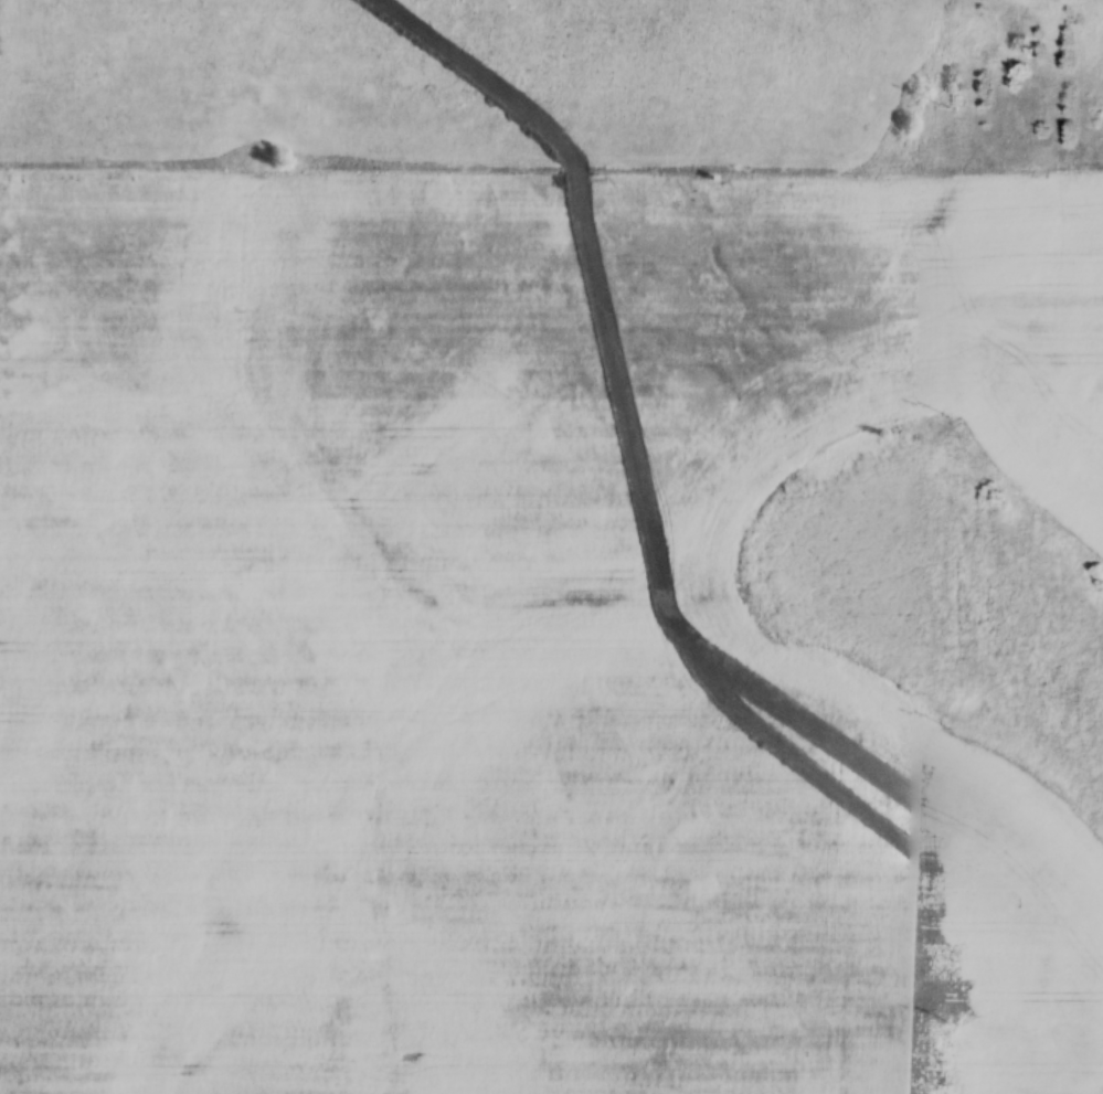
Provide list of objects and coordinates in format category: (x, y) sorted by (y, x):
river: (1070, 741)

